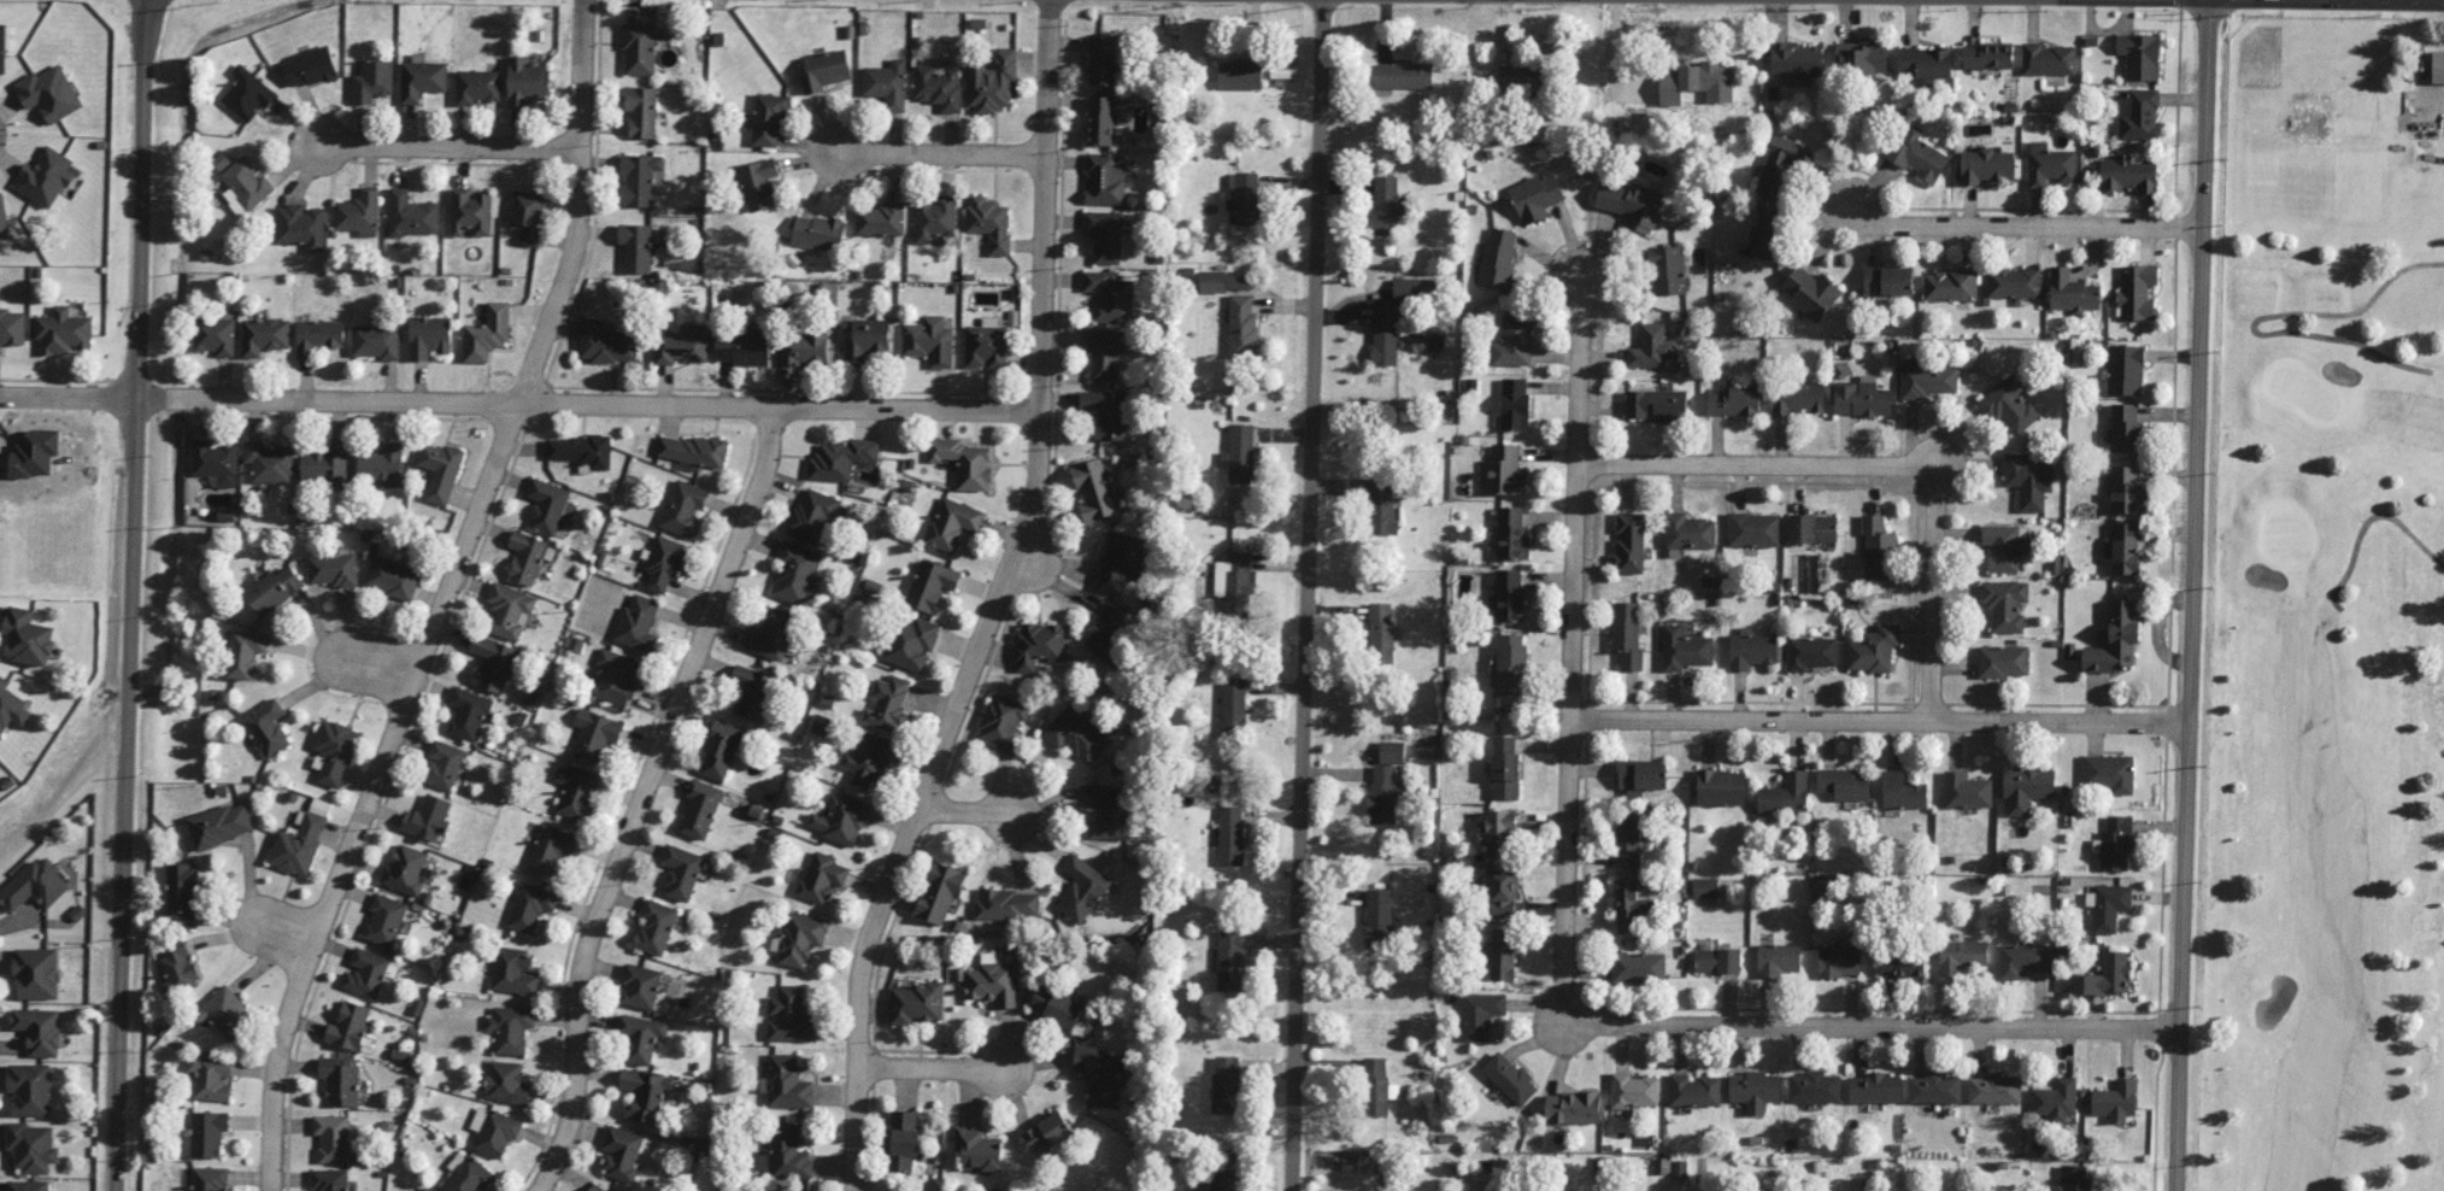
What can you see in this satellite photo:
road: (2340, 1)
road: (2343, 4)
building: (639, 48)
building: (2, 49)
building: (1987, 55)
building: (2139, 55)
building: (1105, 59)
building: (1794, 59)
building: (1861, 59)
building: (2048, 59)
building: (1925, 63)
building: (2437, 66)
building: (310, 68)
building: (824, 70)
building: (1240, 75)
building: (1403, 76)
building: (1520, 78)
building: (422, 80)
building: (374, 81)
building: (527, 81)
building: (993, 82)
building: (1697, 82)
building: (888, 84)
building: (477, 86)
building: (939, 87)
building: (49, 93)
building: (247, 93)
building: (641, 111)
building: (2138, 115)
building: (768, 121)
building: (1101, 121)
road: (433, 146)
road: (927, 153)
building: (1916, 153)
building: (2049, 164)
building: (1985, 165)
building: (2128, 174)
building: (46, 177)
building: (640, 178)
building: (1105, 180)
building: (758, 184)
building: (245, 186)
building: (1535, 196)
building: (1244, 198)
building: (1631, 204)
building: (1385, 205)
building: (470, 212)
building: (359, 213)
building: (411, 215)
building: (528, 216)
building: (4, 219)
building: (880, 219)
building: (935, 219)
building: (991, 223)
road: (2008, 224)
building: (300, 225)
building: (818, 233)
building: (1108, 234)
building: (1766, 236)
building: (636, 247)
building: (1498, 258)
building: (1668, 270)
building: (1888, 280)
building: (1212, 281)
building: (1238, 282)
building: (2013, 282)
building: (1950, 284)
building: (1415, 291)
building: (1811, 292)
building: (2072, 292)
building: (2137, 292)
building: (1110, 297)
building: (1242, 325)
building: (12, 327)
building: (63, 332)
building: (487, 333)
building: (215, 335)
building: (264, 335)
building: (1385, 335)
building: (318, 336)
building: (429, 336)
building: (865, 339)
building: (375, 341)
building: (930, 341)
building: (606, 342)
building: (1512, 342)
building: (681, 345)
building: (986, 345)
building: (742, 348)
building: (804, 350)
building: (1104, 352)
building: (2125, 369)
building: (1927, 379)
building: (1798, 398)
building: (1861, 399)
building: (1734, 400)
road: (518, 403)
building: (1515, 404)
building: (1658, 405)
building: (2010, 406)
building: (1106, 412)
building: (2125, 428)
building: (692, 450)
building: (583, 451)
building: (1240, 453)
building: (841, 459)
building: (269, 462)
building: (963, 462)
building: (215, 463)
building: (324, 464)
road: (1756, 464)
building: (383, 465)
building: (441, 470)
building: (1505, 470)
building: (2027, 481)
building: (1094, 489)
building: (2126, 491)
building: (547, 505)
building: (685, 509)
building: (1382, 510)
building: (813, 515)
building: (952, 523)
building: (1811, 528)
building: (1753, 529)
building: (1688, 532)
building: (1510, 535)
building: (1628, 544)
building: (2004, 546)
building: (1878, 547)
building: (2123, 547)
building: (527, 557)
road: (1028, 558)
building: (1122, 562)
building: (664, 563)
building: (333, 569)
building: (797, 573)
building: (393, 577)
building: (1235, 582)
building: (932, 585)
building: (274, 589)
road: (1932, 592)
road: (130, 594)
road: (1306, 595)
building: (1509, 595)
road: (2192, 595)
road: (441, 597)
road: (993, 604)
building: (2004, 604)
building: (509, 611)
park: (2328, 618)
building: (638, 622)
building: (1108, 632)
building: (1381, 633)
building: (1627, 633)
building: (771, 634)
road: (1571, 635)
building: (28, 636)
building: (2115, 640)
building: (912, 644)
building: (1039, 645)
building: (1685, 649)
building: (1751, 649)
building: (1873, 650)
building: (1810, 652)
building: (245, 653)
building: (2003, 661)
building: (493, 662)
road: (376, 664)
building: (1510, 670)
building: (616, 676)
building: (753, 692)
building: (887, 703)
building: (1234, 704)
building: (12, 708)
building: (468, 714)
road: (1880, 718)
building: (1003, 722)
building: (268, 728)
building: (1077, 733)
building: (595, 734)
building: (334, 751)
building: (721, 751)
building: (1392, 752)
building: (868, 758)
building: (443, 764)
building: (1505, 768)
building: (2109, 773)
building: (1640, 776)
building: (1845, 784)
building: (1721, 787)
building: (2026, 788)
building: (1966, 790)
building: (576, 791)
building: (1902, 791)
road: (636, 794)
building: (1383, 794)
building: (1785, 794)
building: (700, 809)
road: (968, 811)
building: (1105, 812)
building: (428, 820)
building: (842, 820)
building: (219, 825)
building: (1499, 833)
building: (1230, 835)
building: (1627, 841)
building: (2116, 841)
building: (299, 845)
building: (552, 847)
building: (406, 870)
building: (682, 872)
building: (822, 879)
building: (35, 885)
building: (1705, 887)
building: (1082, 890)
building: (940, 892)
building: (182, 893)
building: (1503, 893)
building: (1007, 904)
building: (2107, 905)
building: (530, 907)
building: (1631, 907)
building: (1377, 917)
building: (384, 920)
building: (654, 927)
road: (280, 931)
building: (800, 938)
building: (1502, 954)
building: (1961, 956)
building: (1229, 958)
building: (1778, 960)
building: (2022, 960)
building: (1717, 961)
building: (1839, 961)
building: (1902, 966)
building: (1638, 967)
building: (178, 969)
building: (515, 972)
building: (35, 973)
building: (369, 973)
building: (2104, 976)
building: (993, 980)
building: (640, 986)
building: (915, 1003)
building: (1057, 1007)
building: (225, 1011)
building: (1480, 1015)
building: (789, 1016)
building: (349, 1026)
road: (1870, 1026)
building: (511, 1028)
building: (39, 1029)
building: (641, 1037)
road: (934, 1068)
building: (211, 1075)
building: (1101, 1075)
building: (1510, 1078)
building: (340, 1081)
building: (506, 1081)
building: (787, 1083)
building: (1224, 1084)
building: (1375, 1086)
building: (1815, 1087)
building: (30, 1089)
building: (1875, 1089)
building: (1935, 1089)
building: (1994, 1089)
building: (1755, 1090)
building: (1633, 1091)
building: (1694, 1091)
building: (645, 1093)
building: (2055, 1099)
building: (2115, 1099)
building: (1573, 1108)
building: (493, 1131)
building: (1047, 1132)
building: (207, 1133)
building: (335, 1138)
building: (904, 1139)
building: (31, 1146)
building: (979, 1149)
building: (621, 1152)
building: (786, 1154)
building: (465, 1174)
building: (1221, 1174)
building: (2073, 1178)
building: (210, 1179)
building: (329, 1180)
building: (28, 1185)
building: (597, 1187)
building: (424, 1189)

